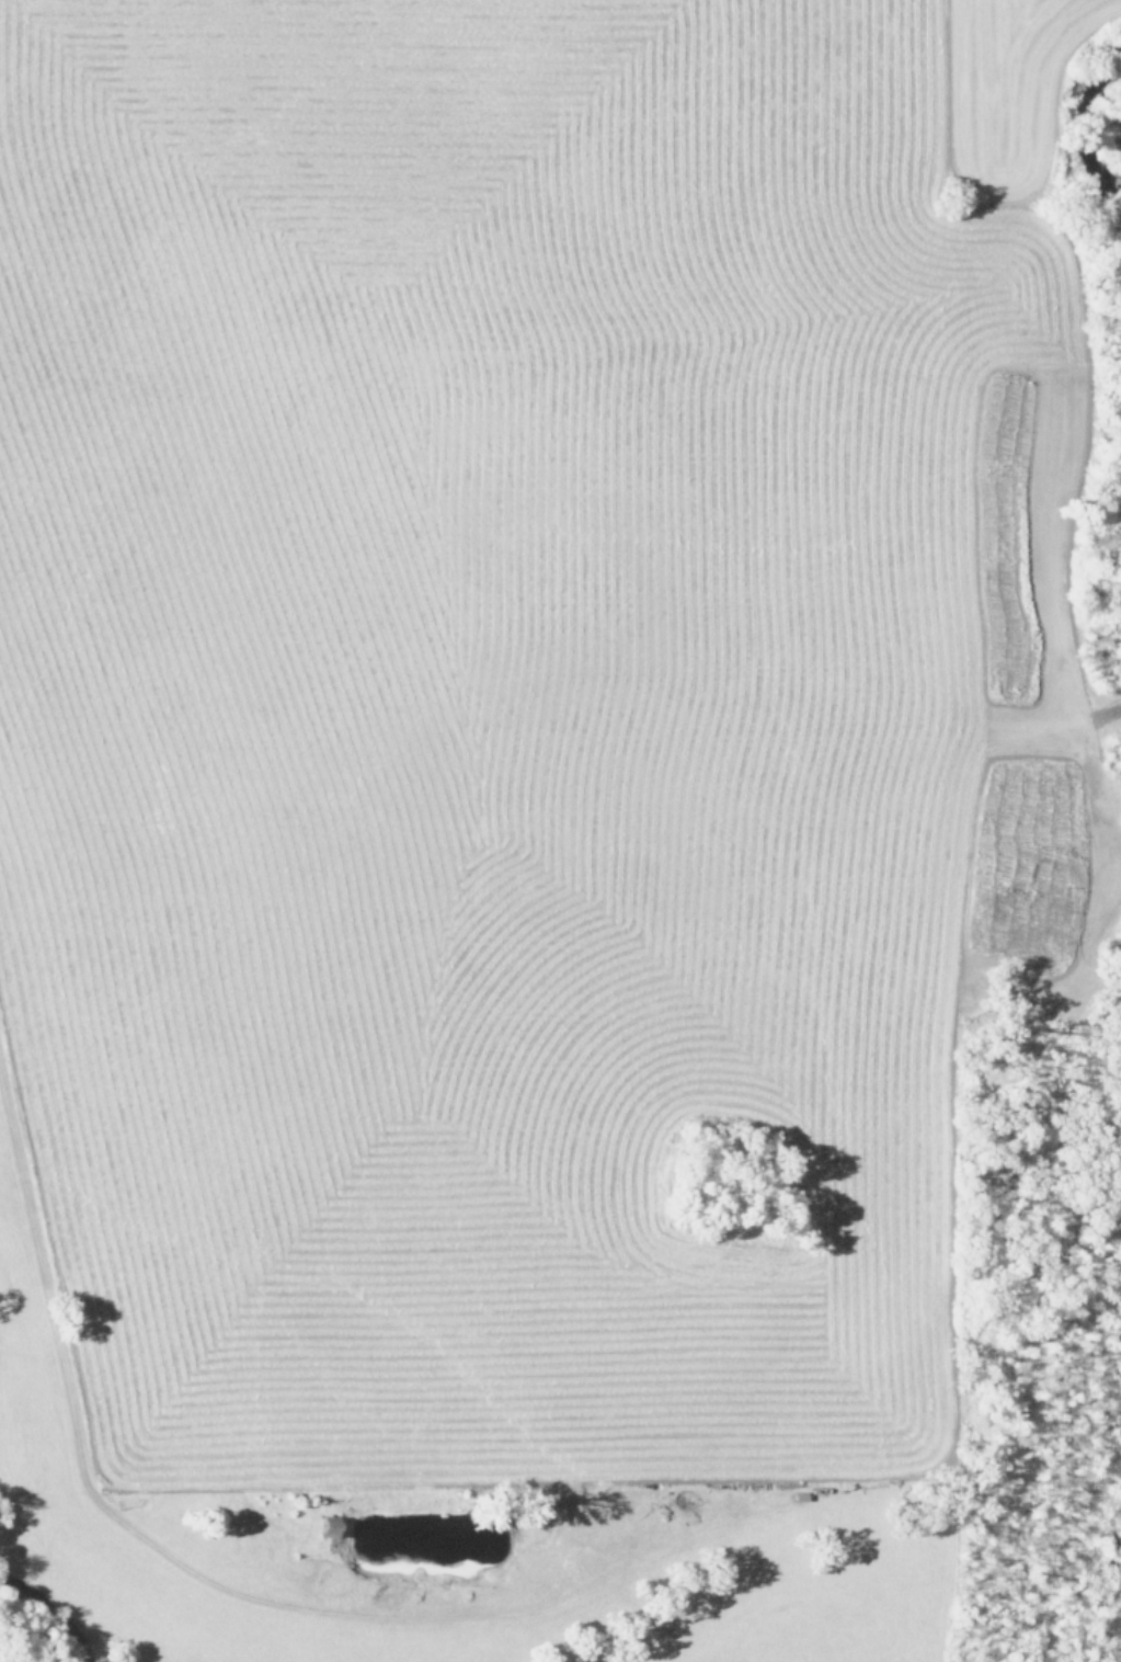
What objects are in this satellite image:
crop: (494, 739)
crop: (1119, 1661)

